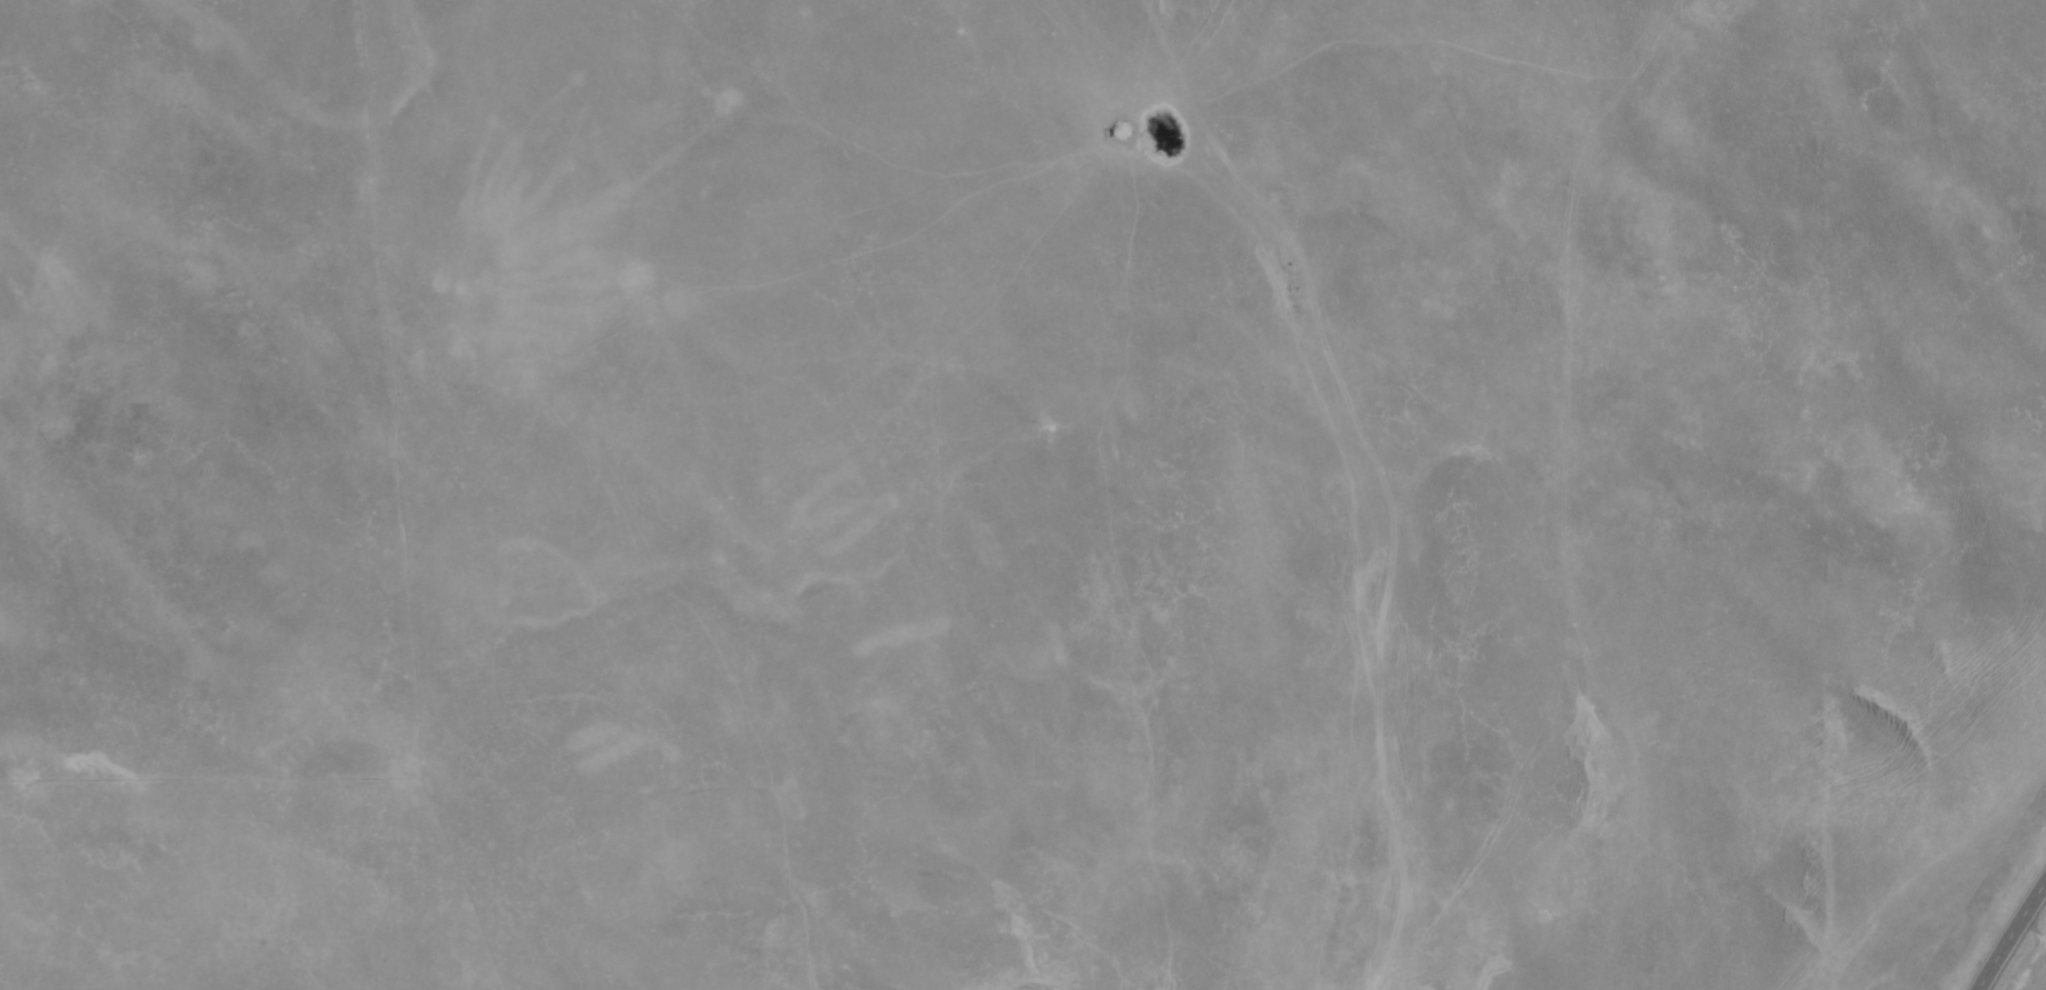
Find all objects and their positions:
road: (2015, 940)

